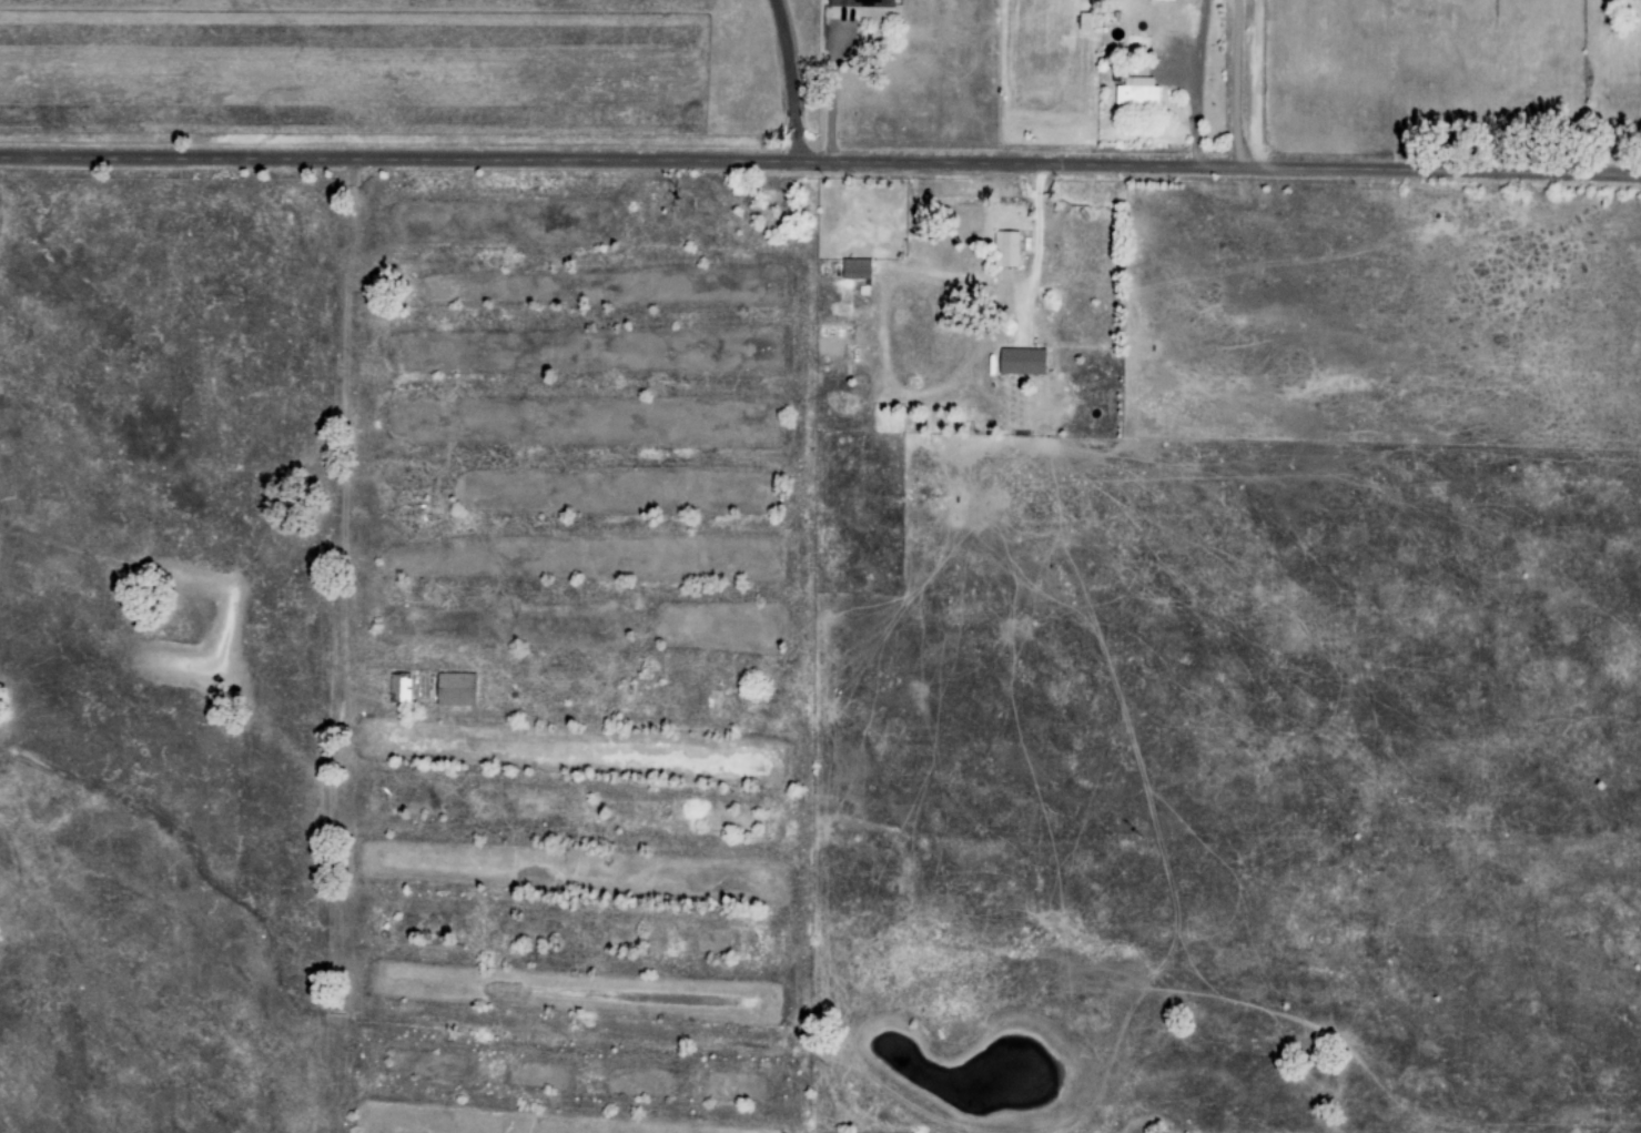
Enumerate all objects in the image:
building: (862, 3)
road: (786, 80)
road: (1195, 82)
road: (1237, 82)
road: (1257, 83)
building: (1137, 92)
road: (820, 161)
road: (1039, 244)
building: (1005, 250)
building: (855, 270)
building: (1021, 362)
road: (344, 646)
building: (399, 688)
building: (456, 689)

